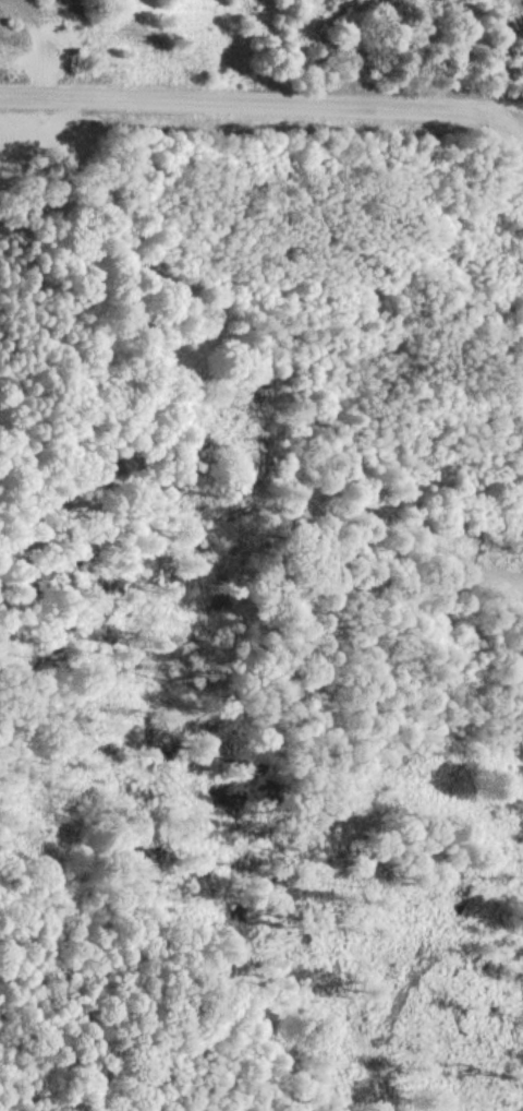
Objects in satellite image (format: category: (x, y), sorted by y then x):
road: (247, 99)
road: (509, 119)

